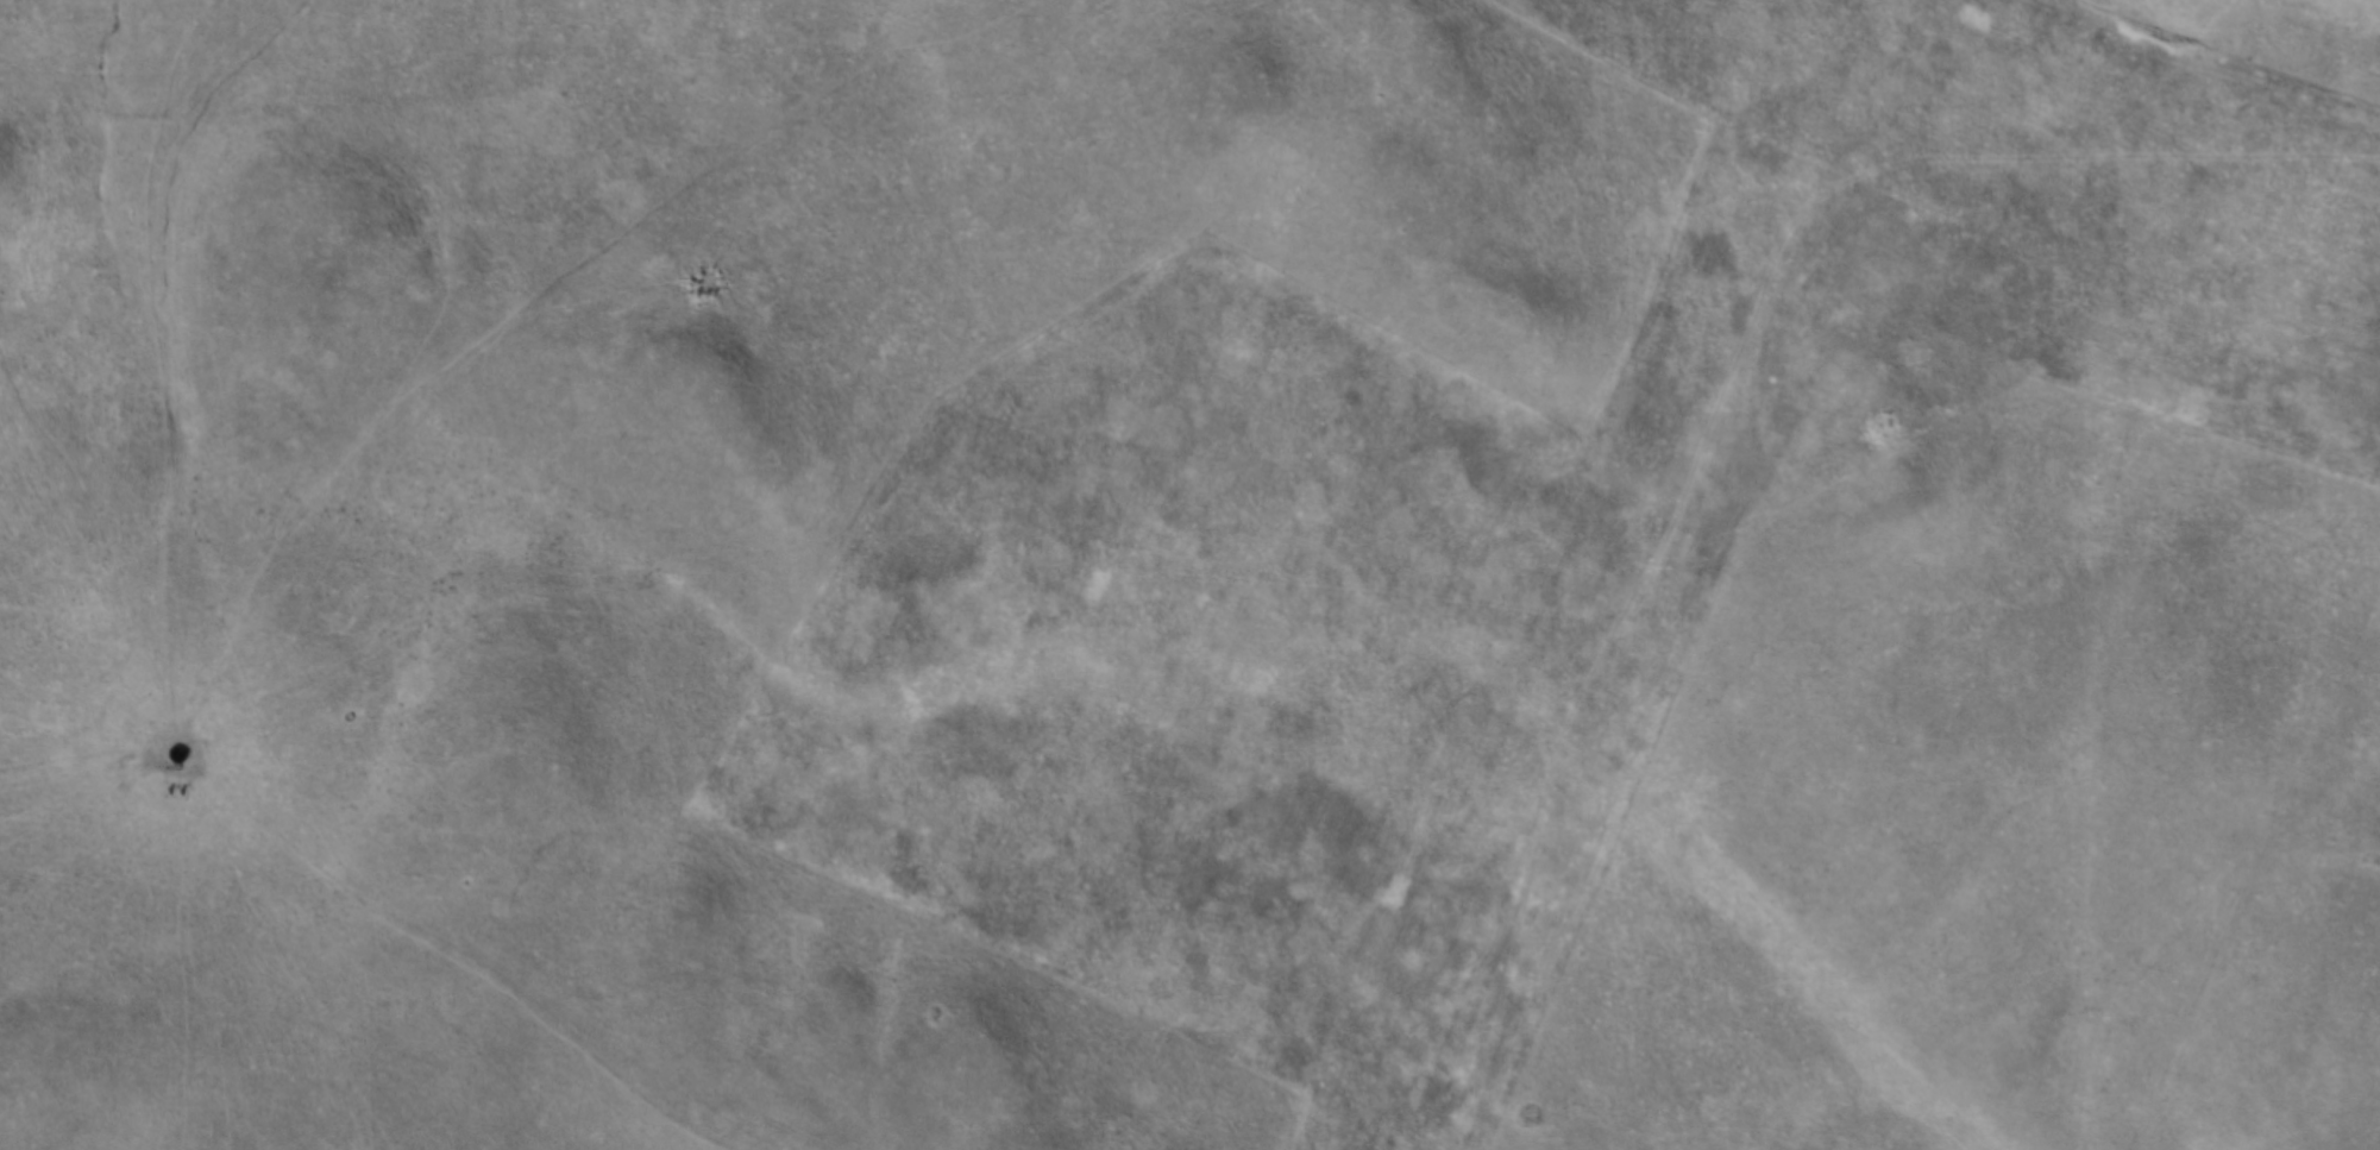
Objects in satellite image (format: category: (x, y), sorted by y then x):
road: (508, 969)

